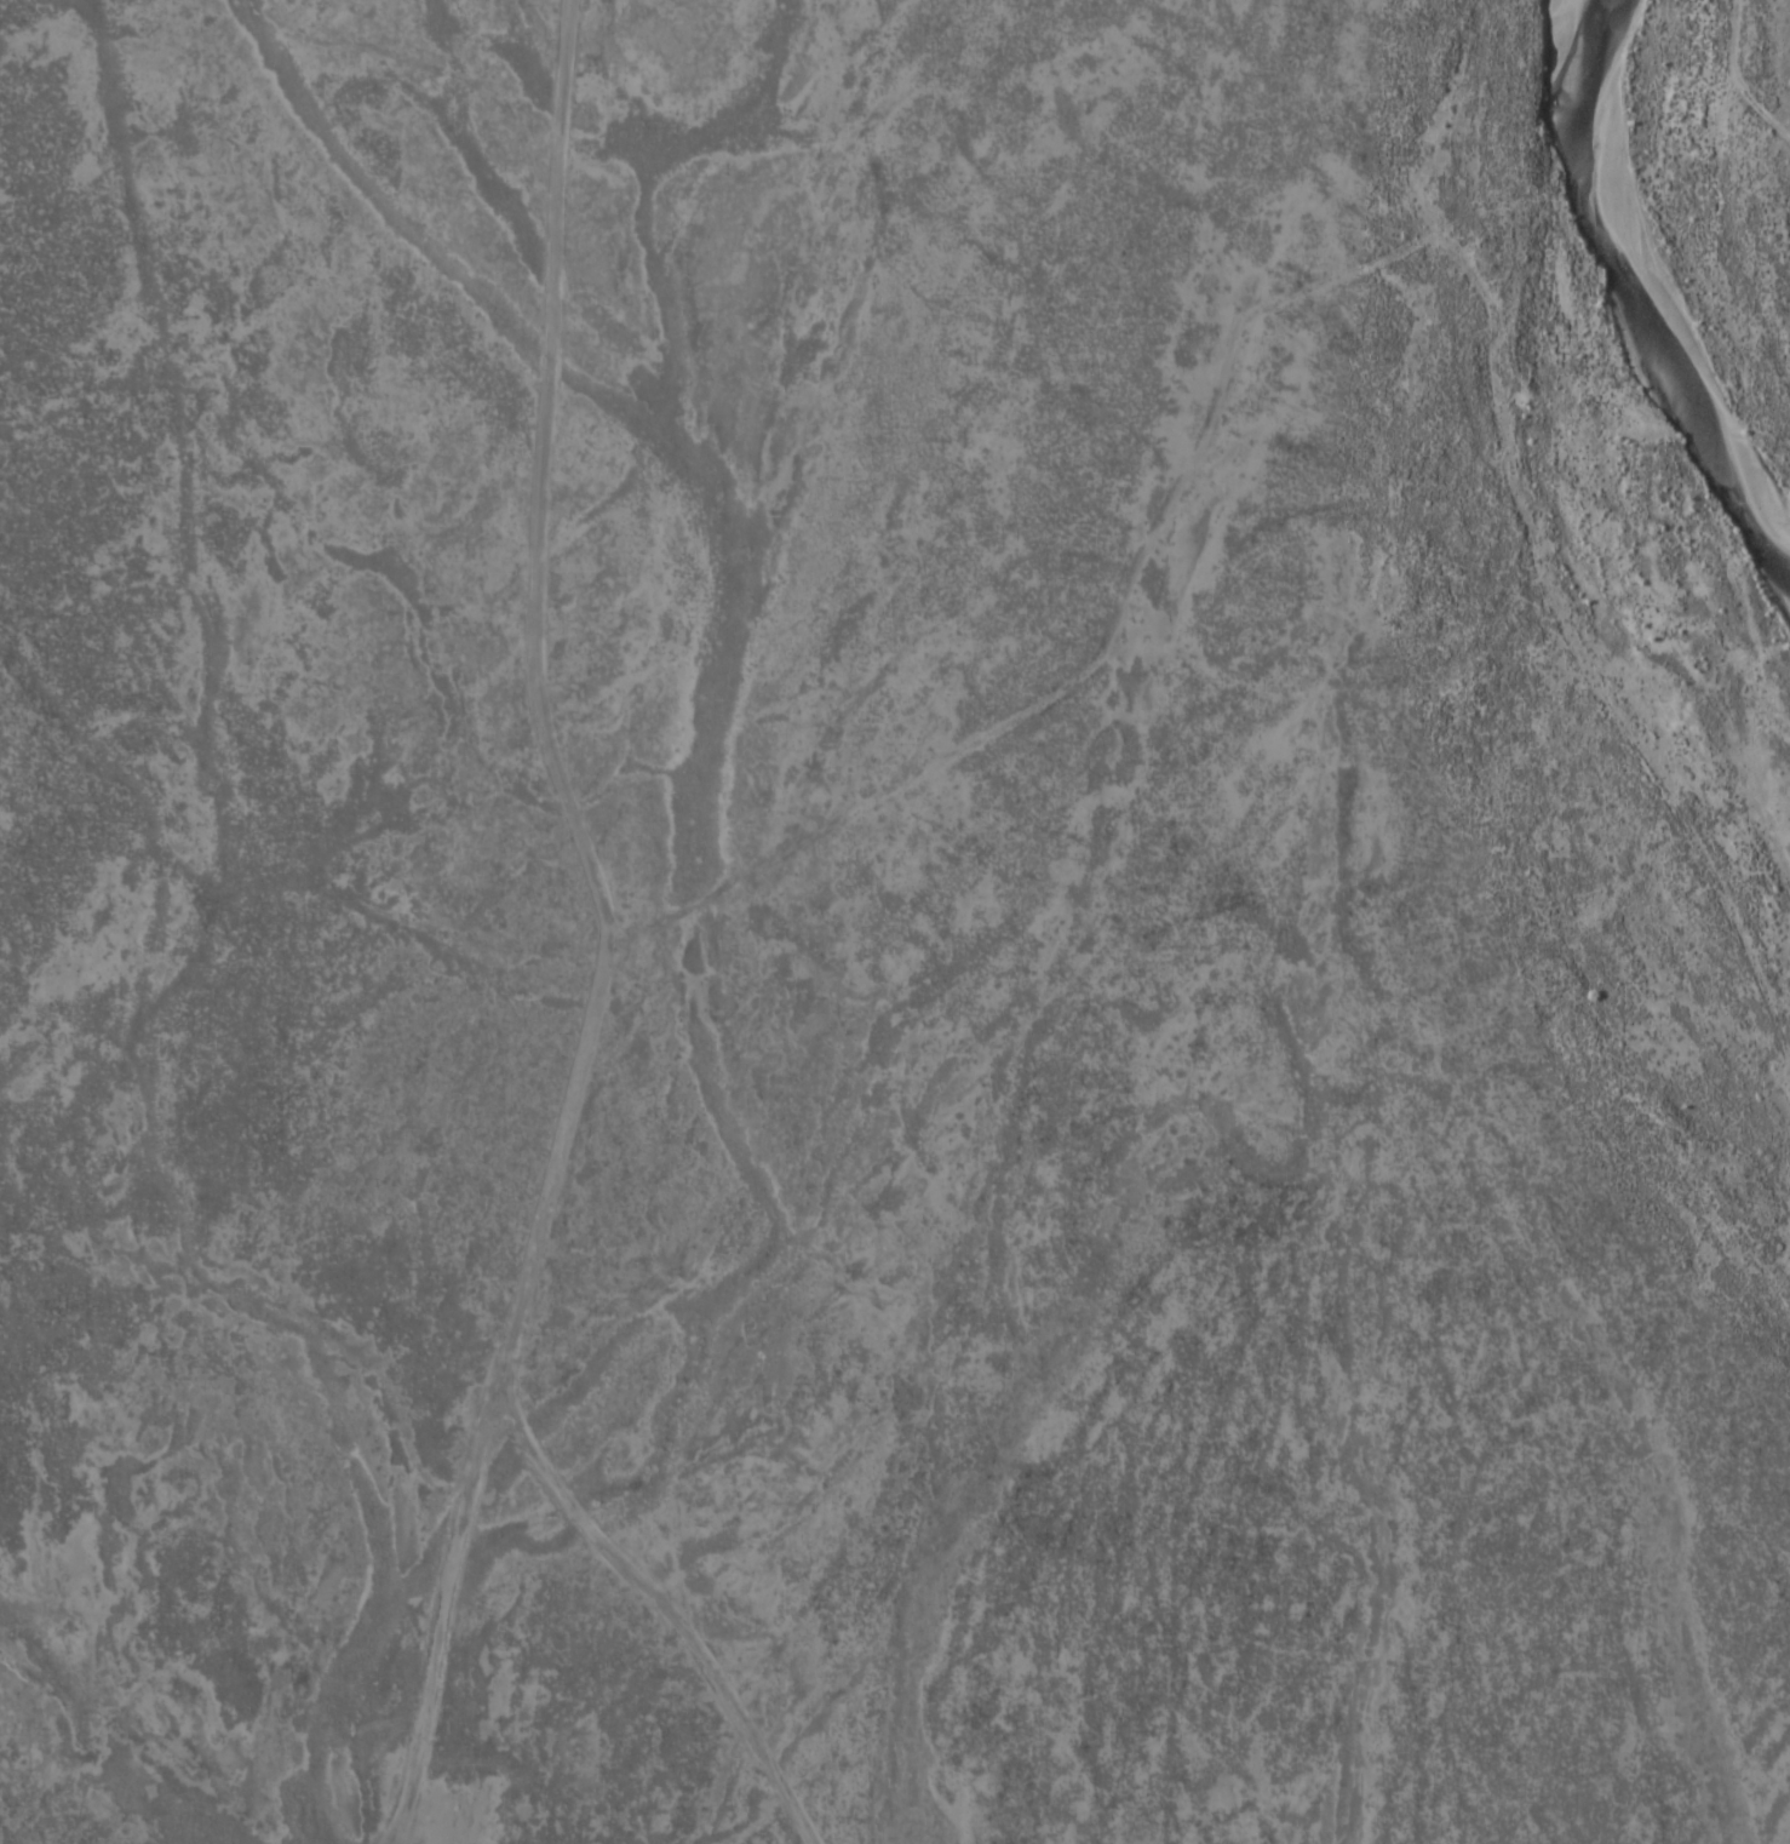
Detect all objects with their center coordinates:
river: (1634, 302)

